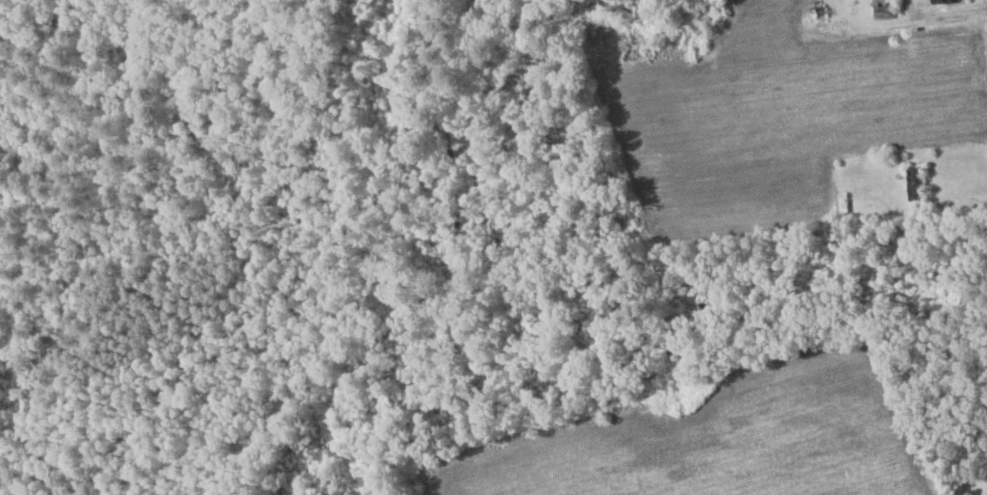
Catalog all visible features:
building: (912, 183)

